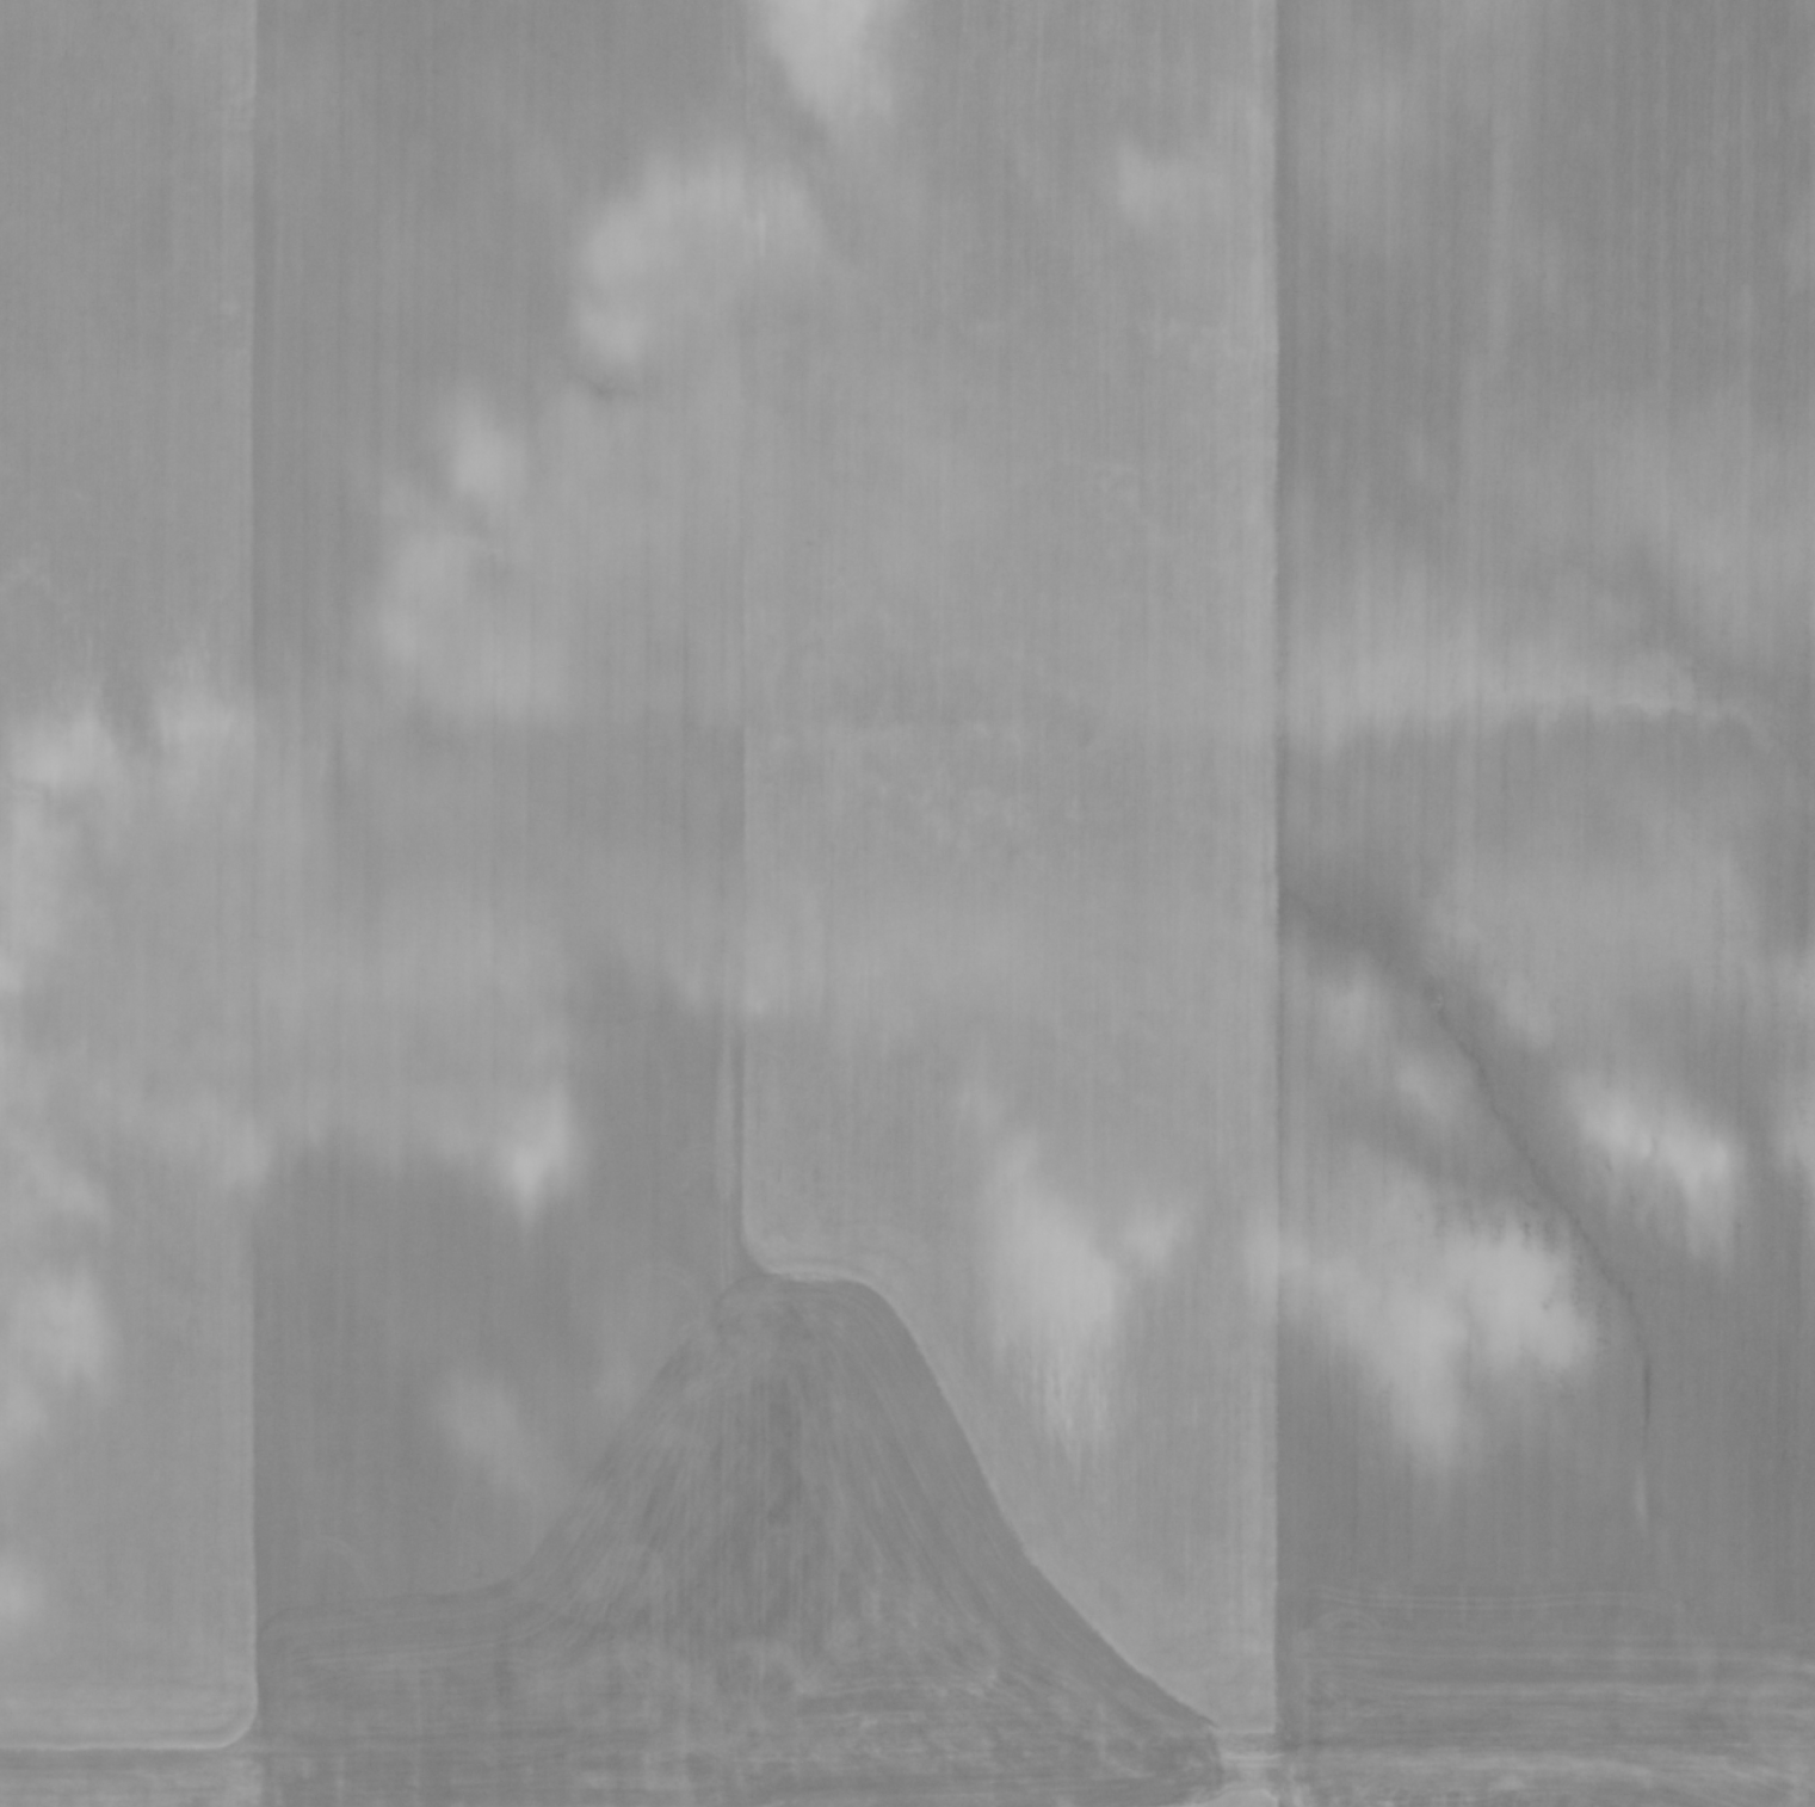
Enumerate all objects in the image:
crop: (907, 903)

